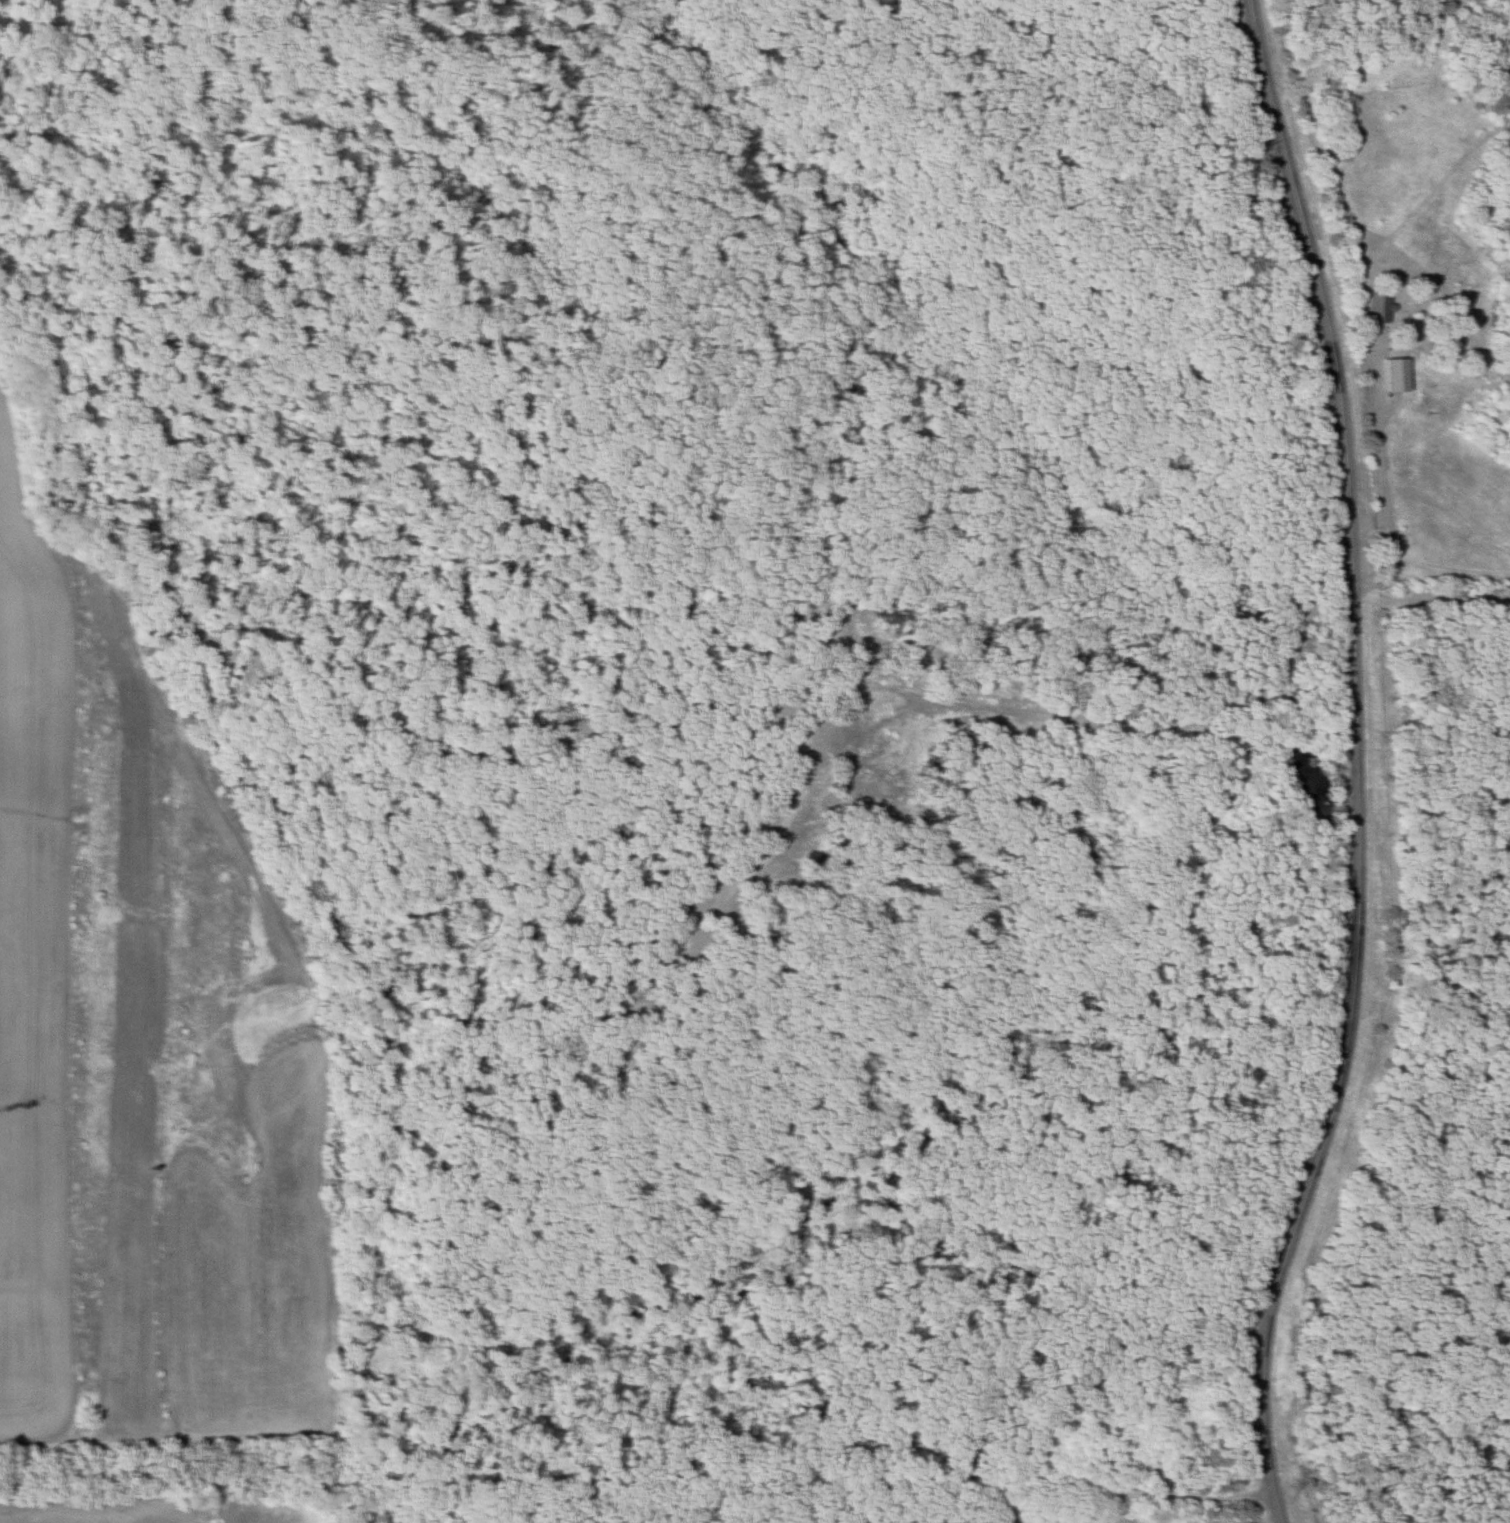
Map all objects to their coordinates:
building: (1393, 374)
road: (1358, 762)

